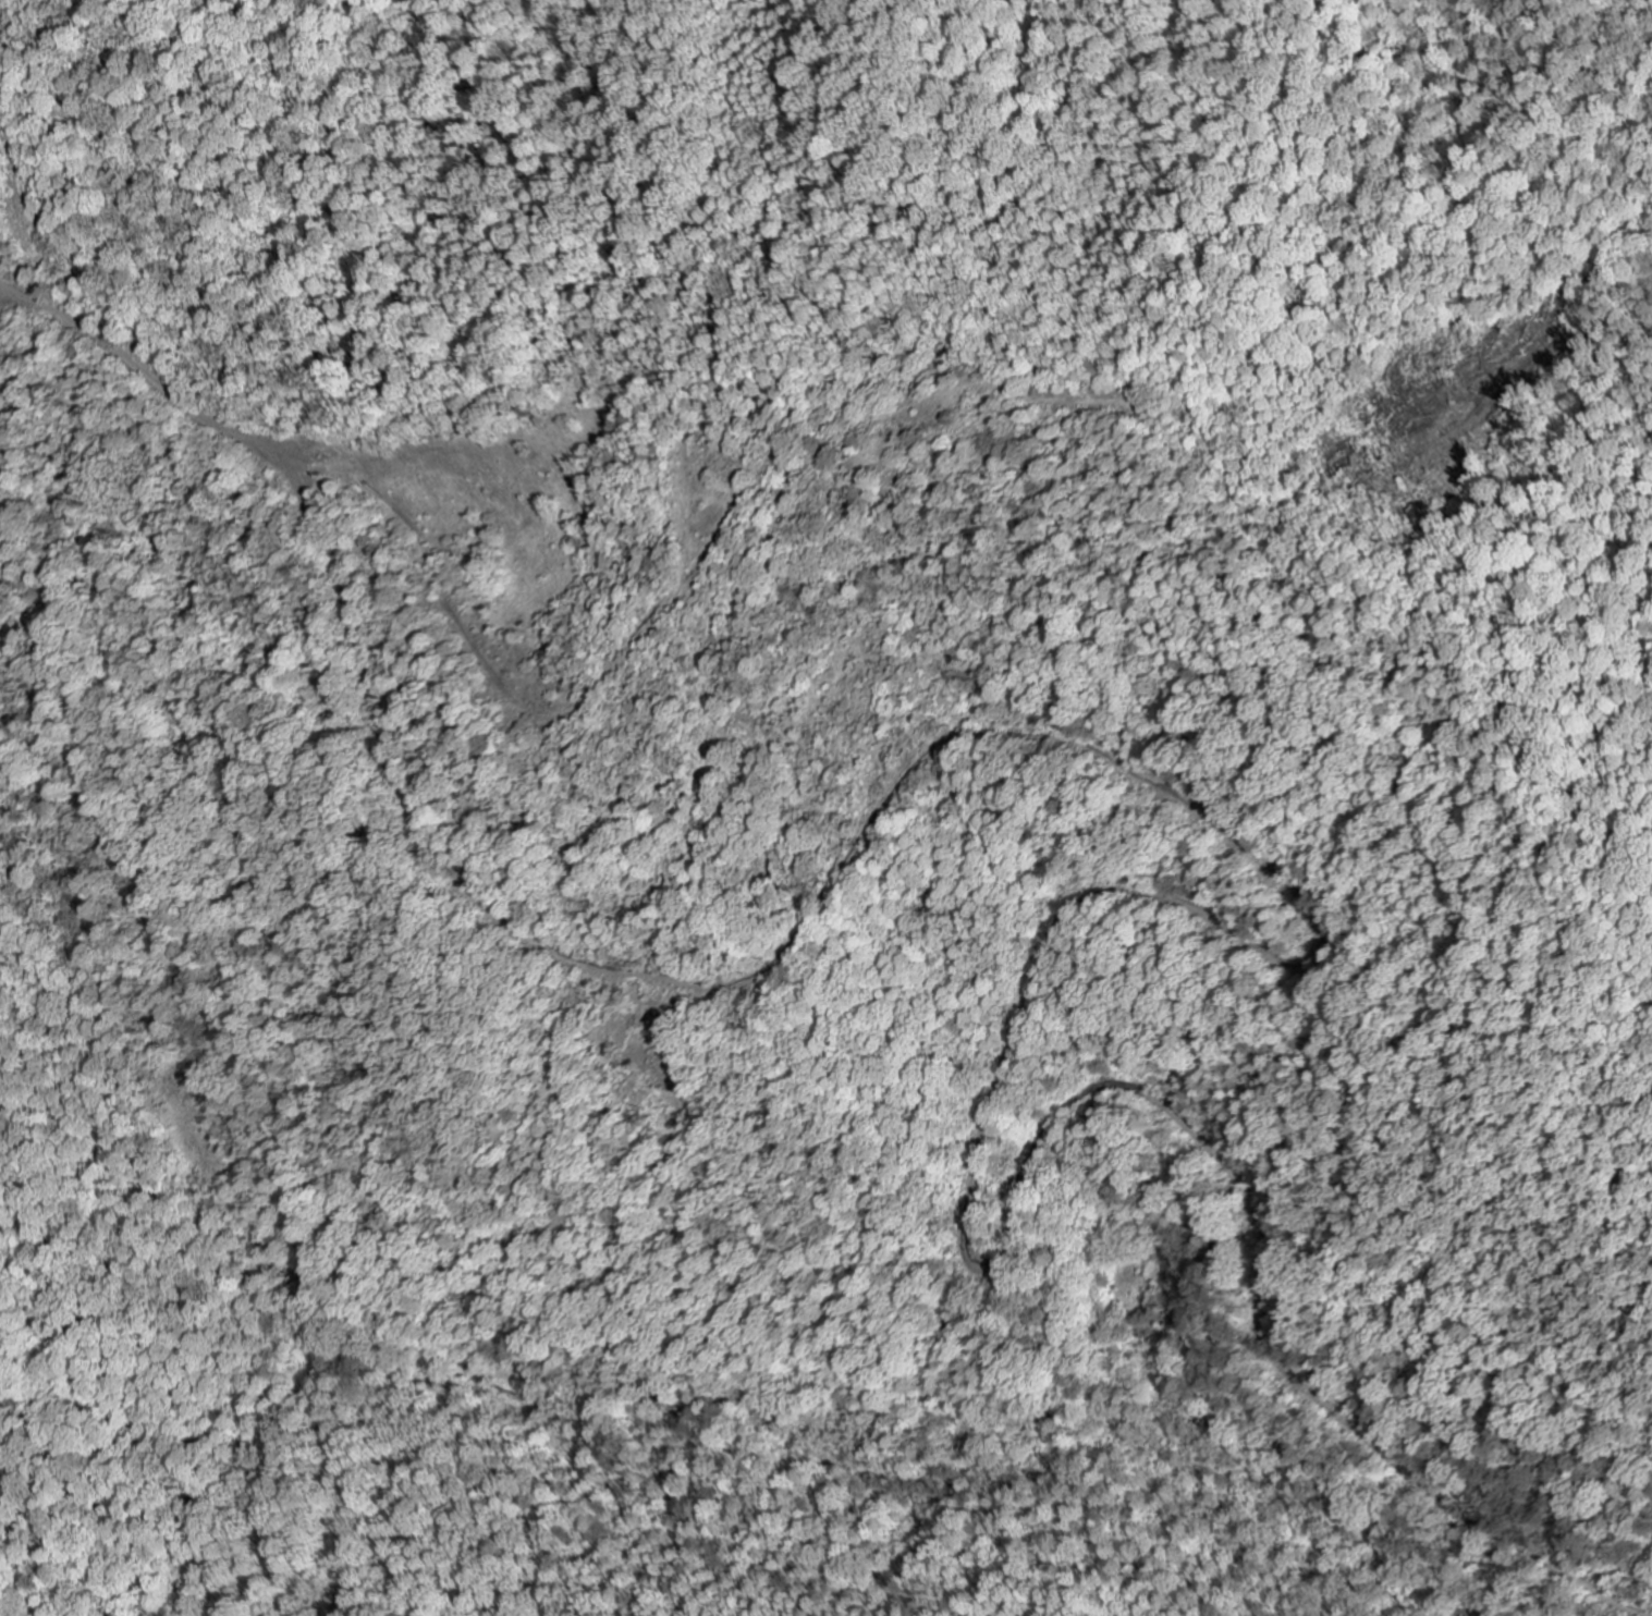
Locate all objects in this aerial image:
road: (1283, 890)

